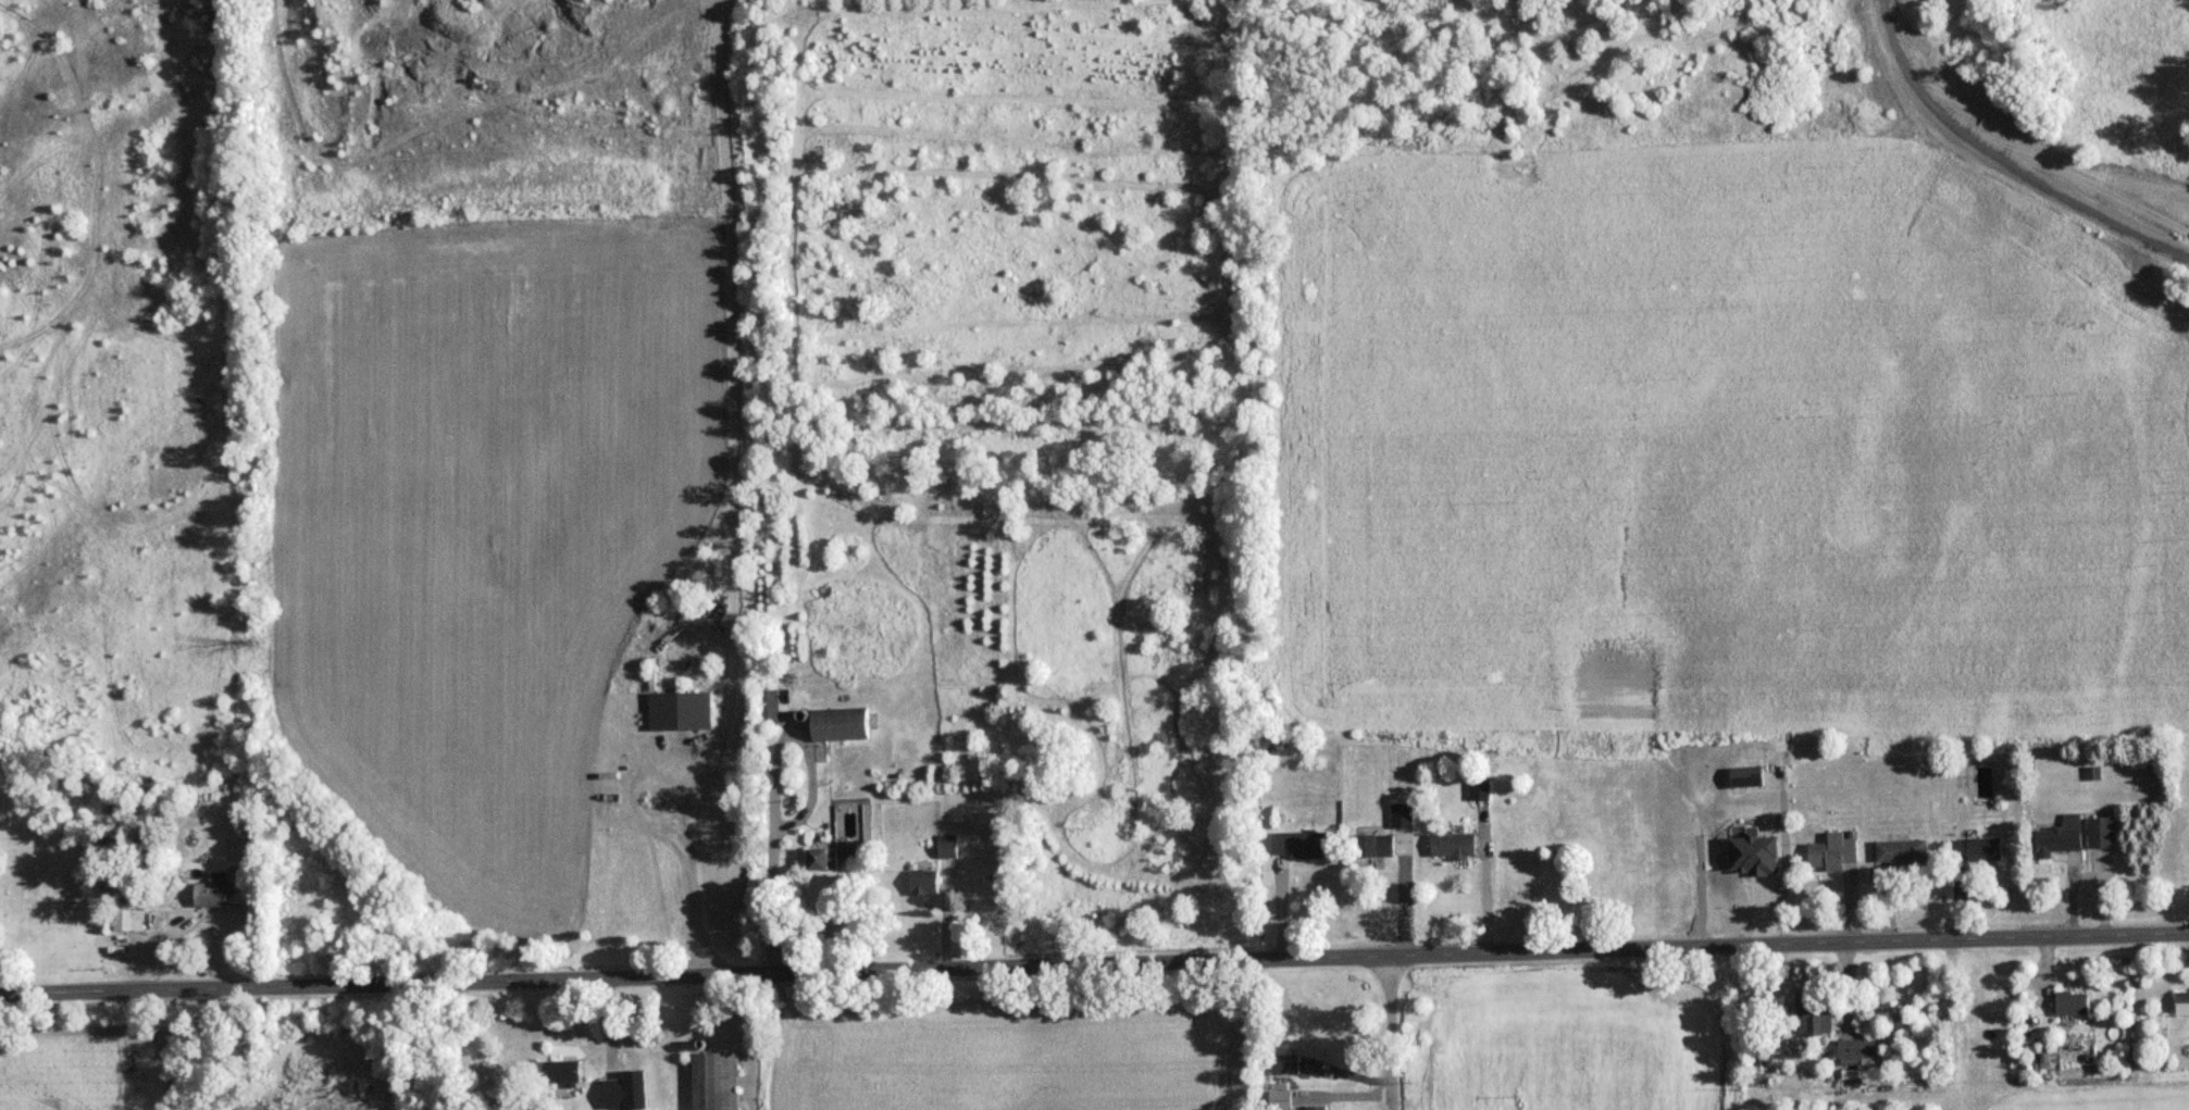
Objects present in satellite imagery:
road: (1914, 89)
quarry: (2053, 109)
quarry: (505, 110)
road: (2091, 184)
road: (2086, 207)
building: (710, 581)
building: (770, 707)
building: (680, 710)
building: (843, 724)
building: (1745, 775)
building: (1479, 790)
building: (1402, 814)
building: (2101, 832)
building: (2061, 836)
building: (1307, 844)
building: (1372, 845)
building: (1454, 846)
building: (1978, 848)
building: (1902, 850)
building: (948, 851)
building: (1757, 853)
building: (1834, 853)
building: (824, 858)
road: (697, 878)
building: (926, 882)
building: (214, 888)
road: (1503, 889)
road: (773, 895)
building: (126, 916)
road: (1094, 965)
building: (2182, 1001)
building: (2072, 1002)
building: (1816, 1012)
road: (1393, 1034)
building: (1857, 1048)
building: (568, 1071)
building: (716, 1081)
building: (1281, 1099)
building: (1316, 1107)

